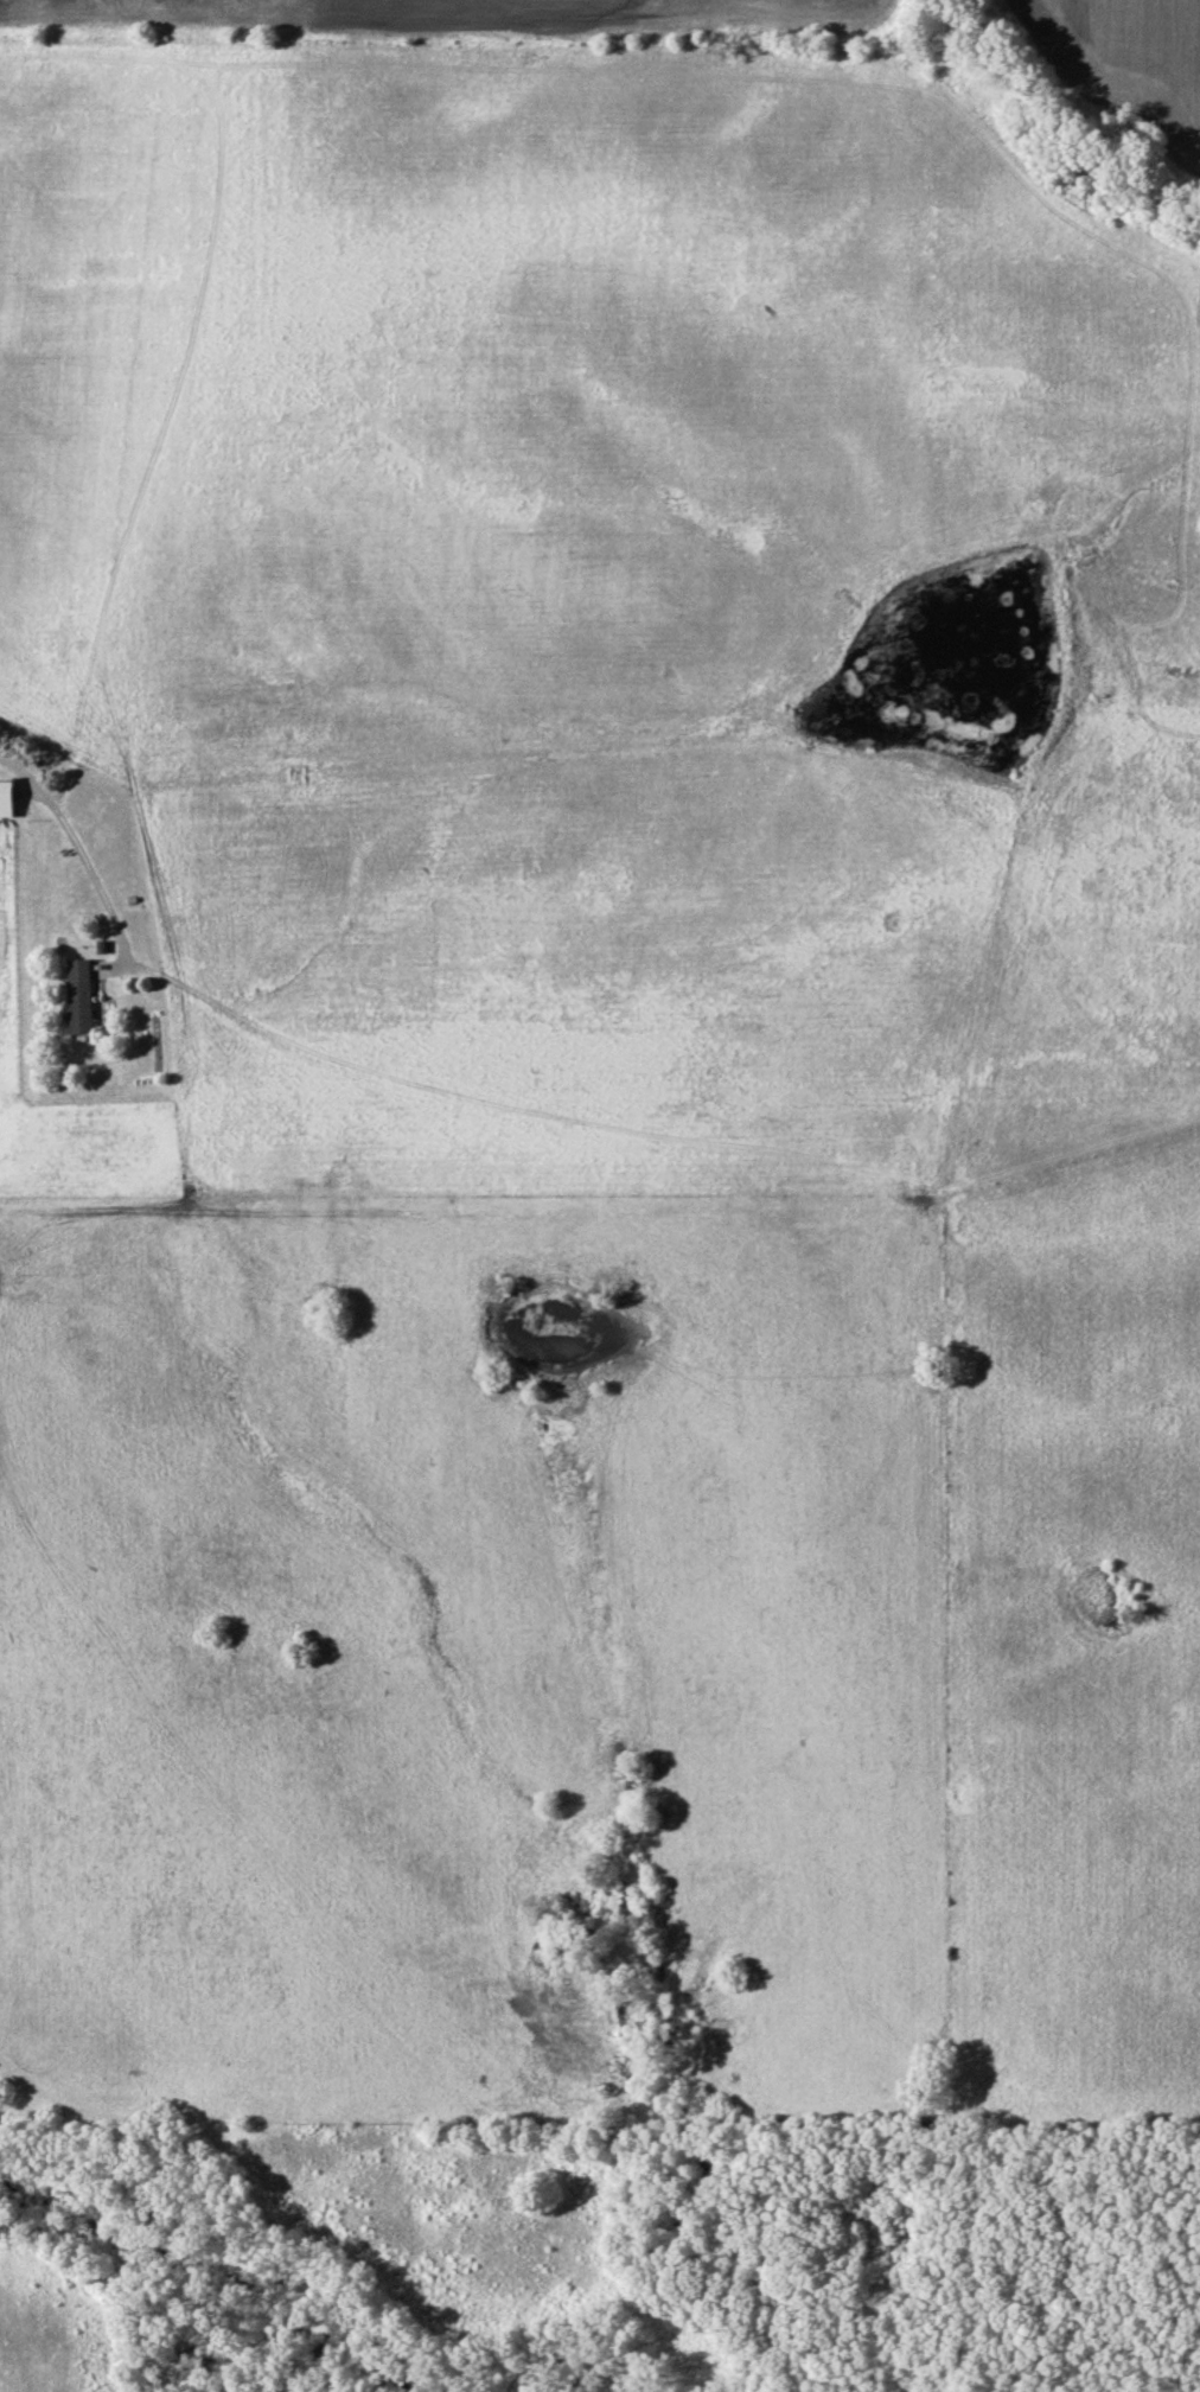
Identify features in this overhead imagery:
building: (6, 798)
building: (77, 997)

